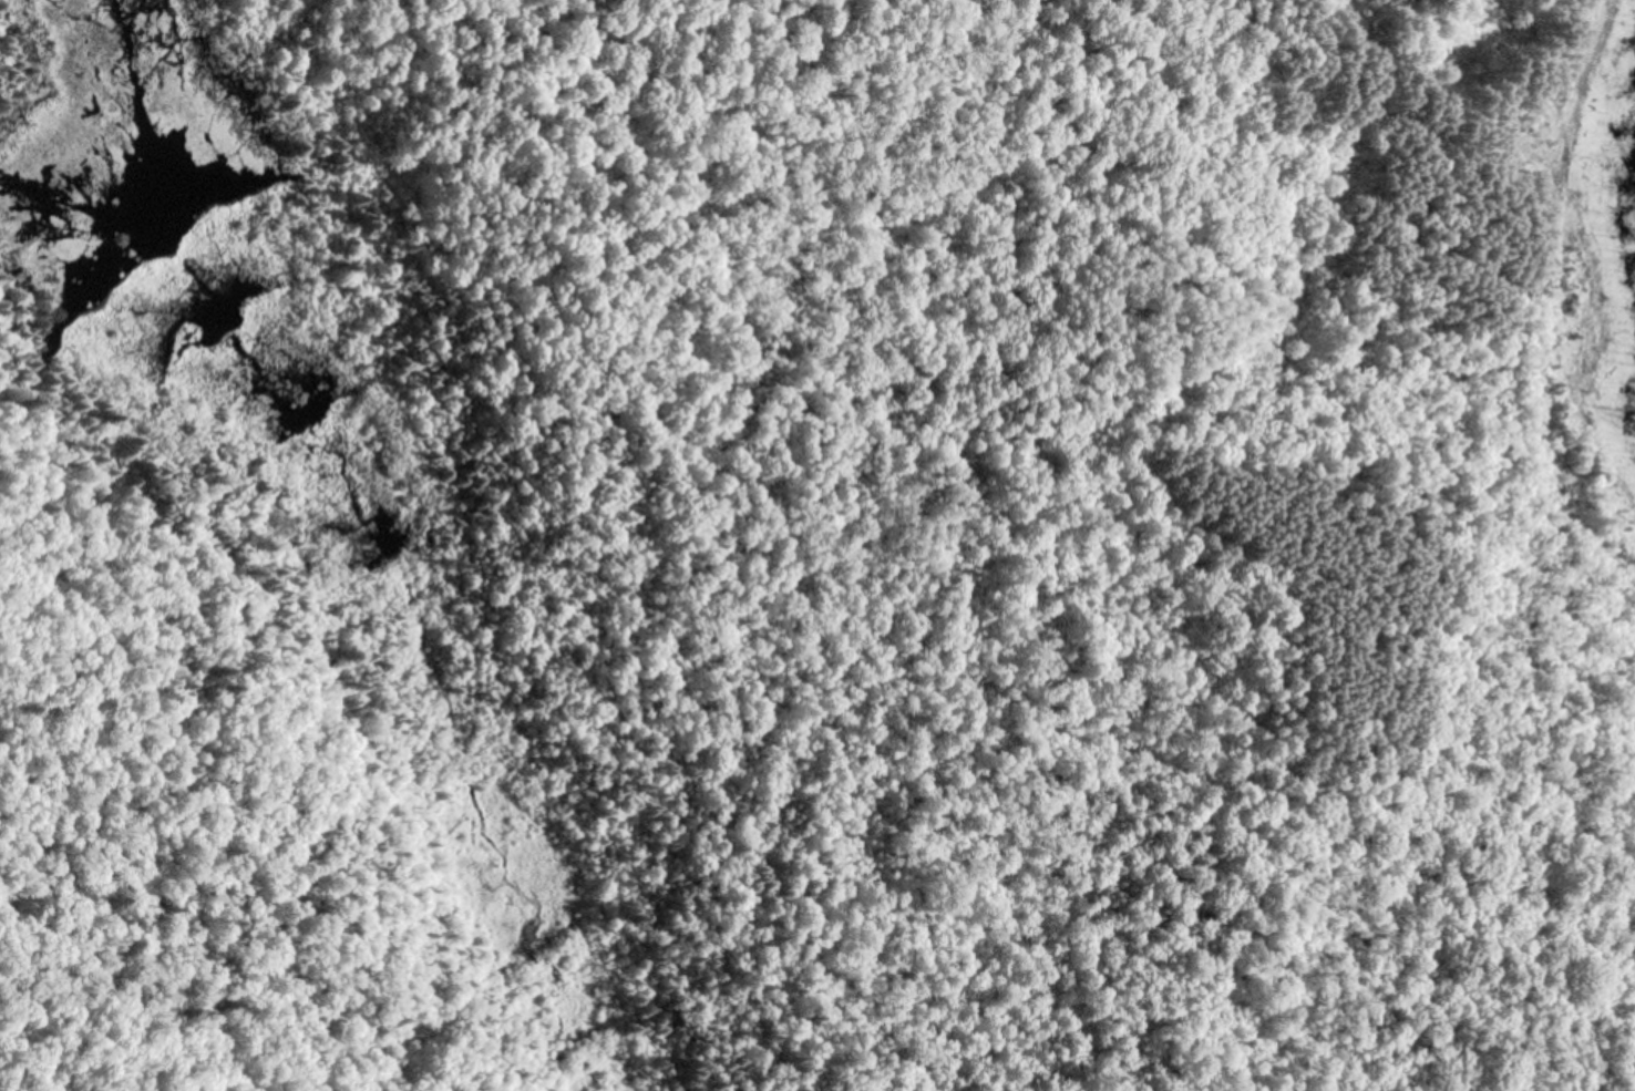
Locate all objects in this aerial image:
road: (1314, 621)

